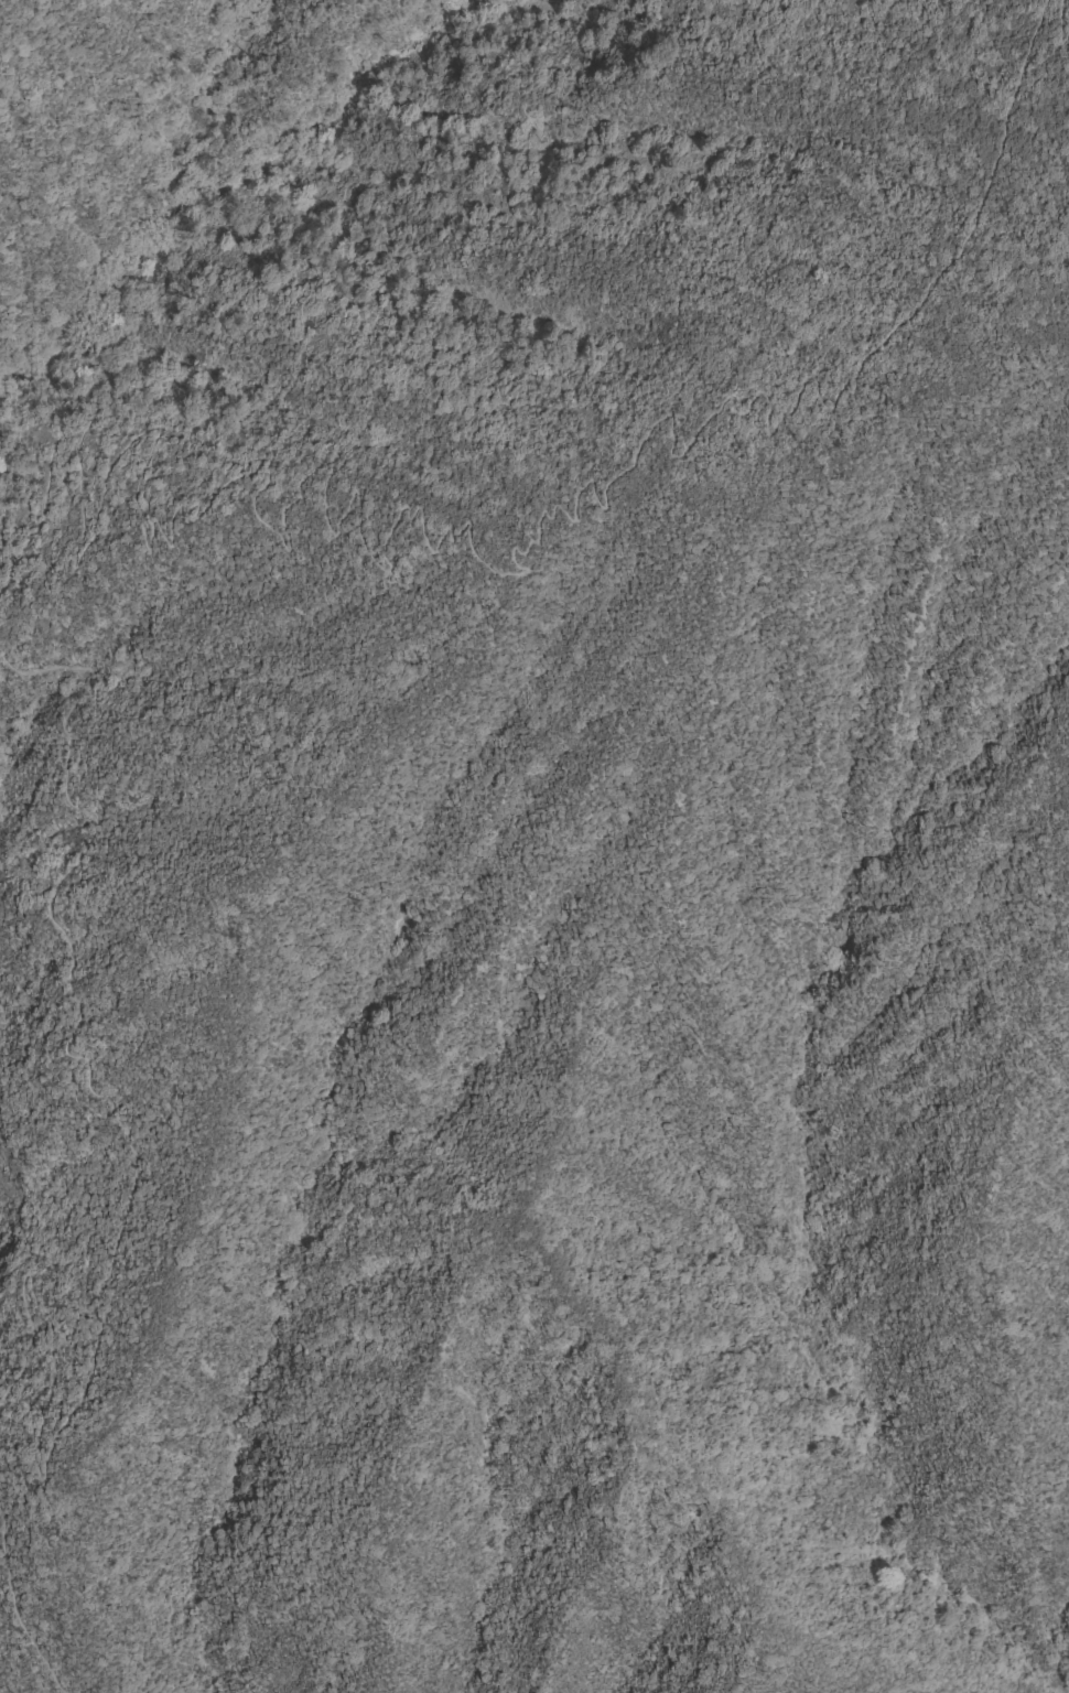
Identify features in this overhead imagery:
road: (1059, 35)
road: (10, 493)
road: (390, 550)
road: (131, 1175)
road: (18, 1606)

